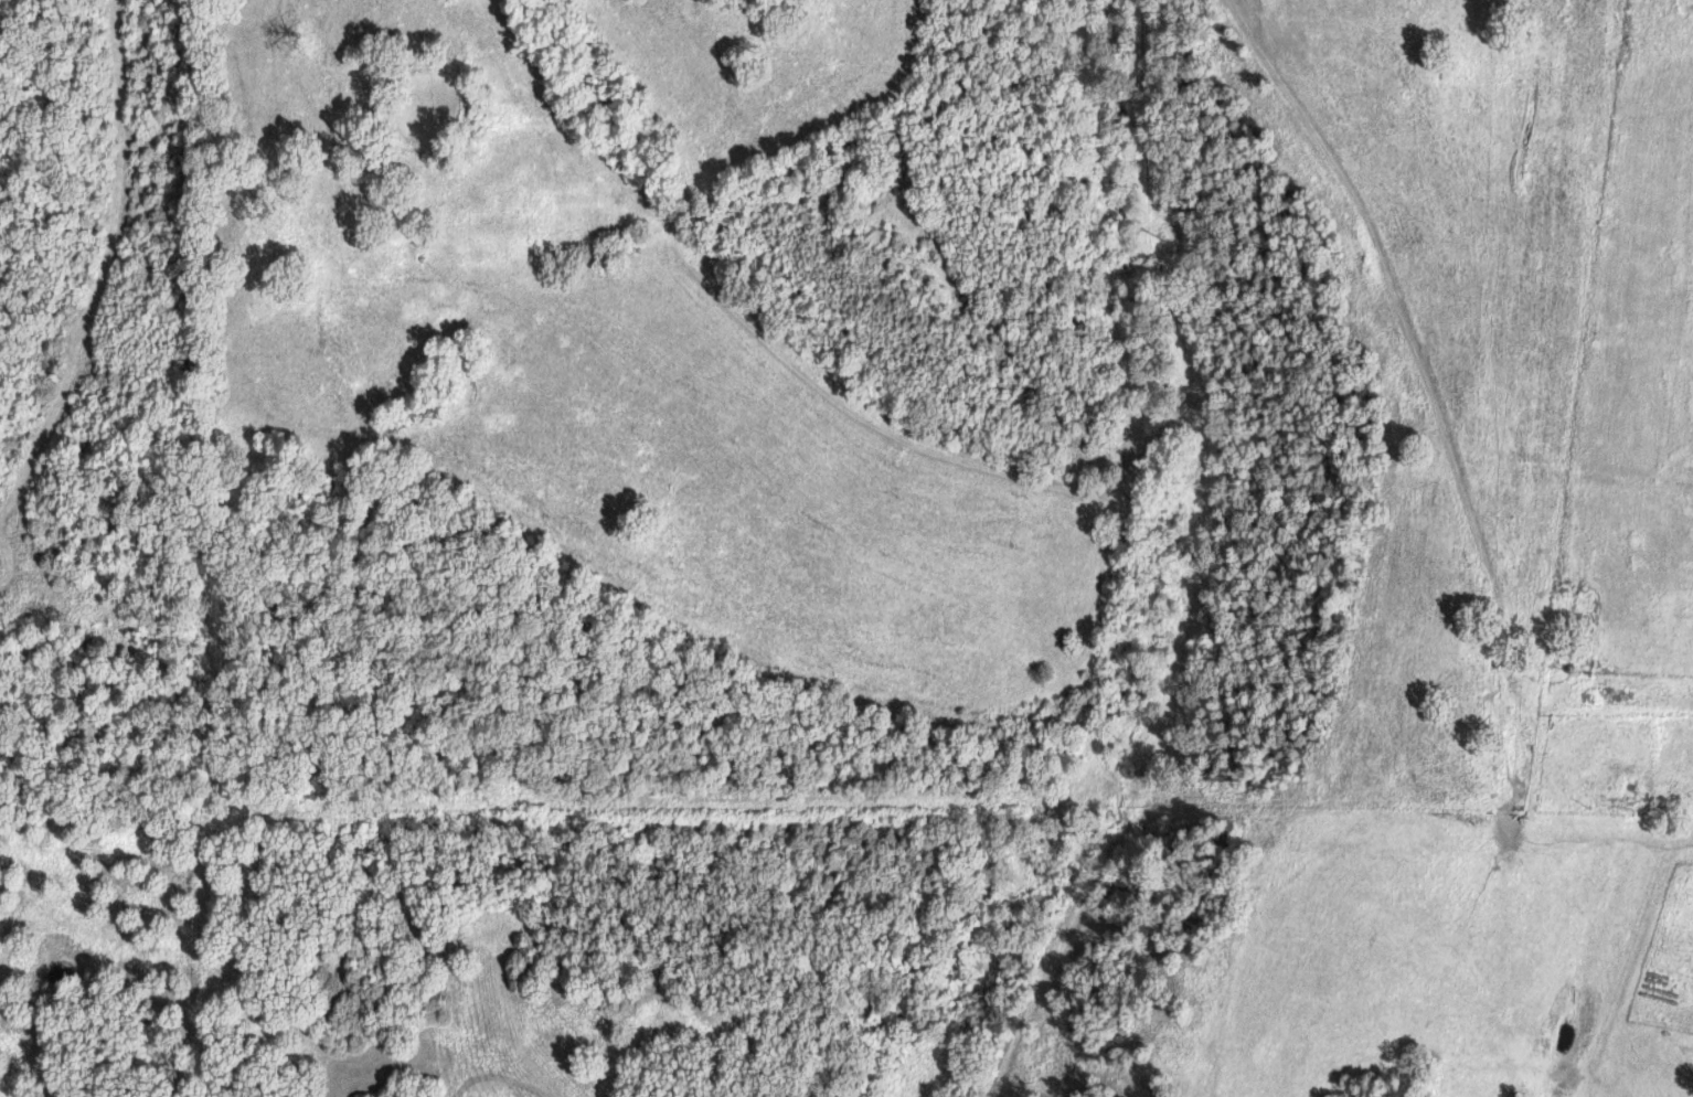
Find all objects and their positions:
road: (1615, 706)
road: (1436, 854)

